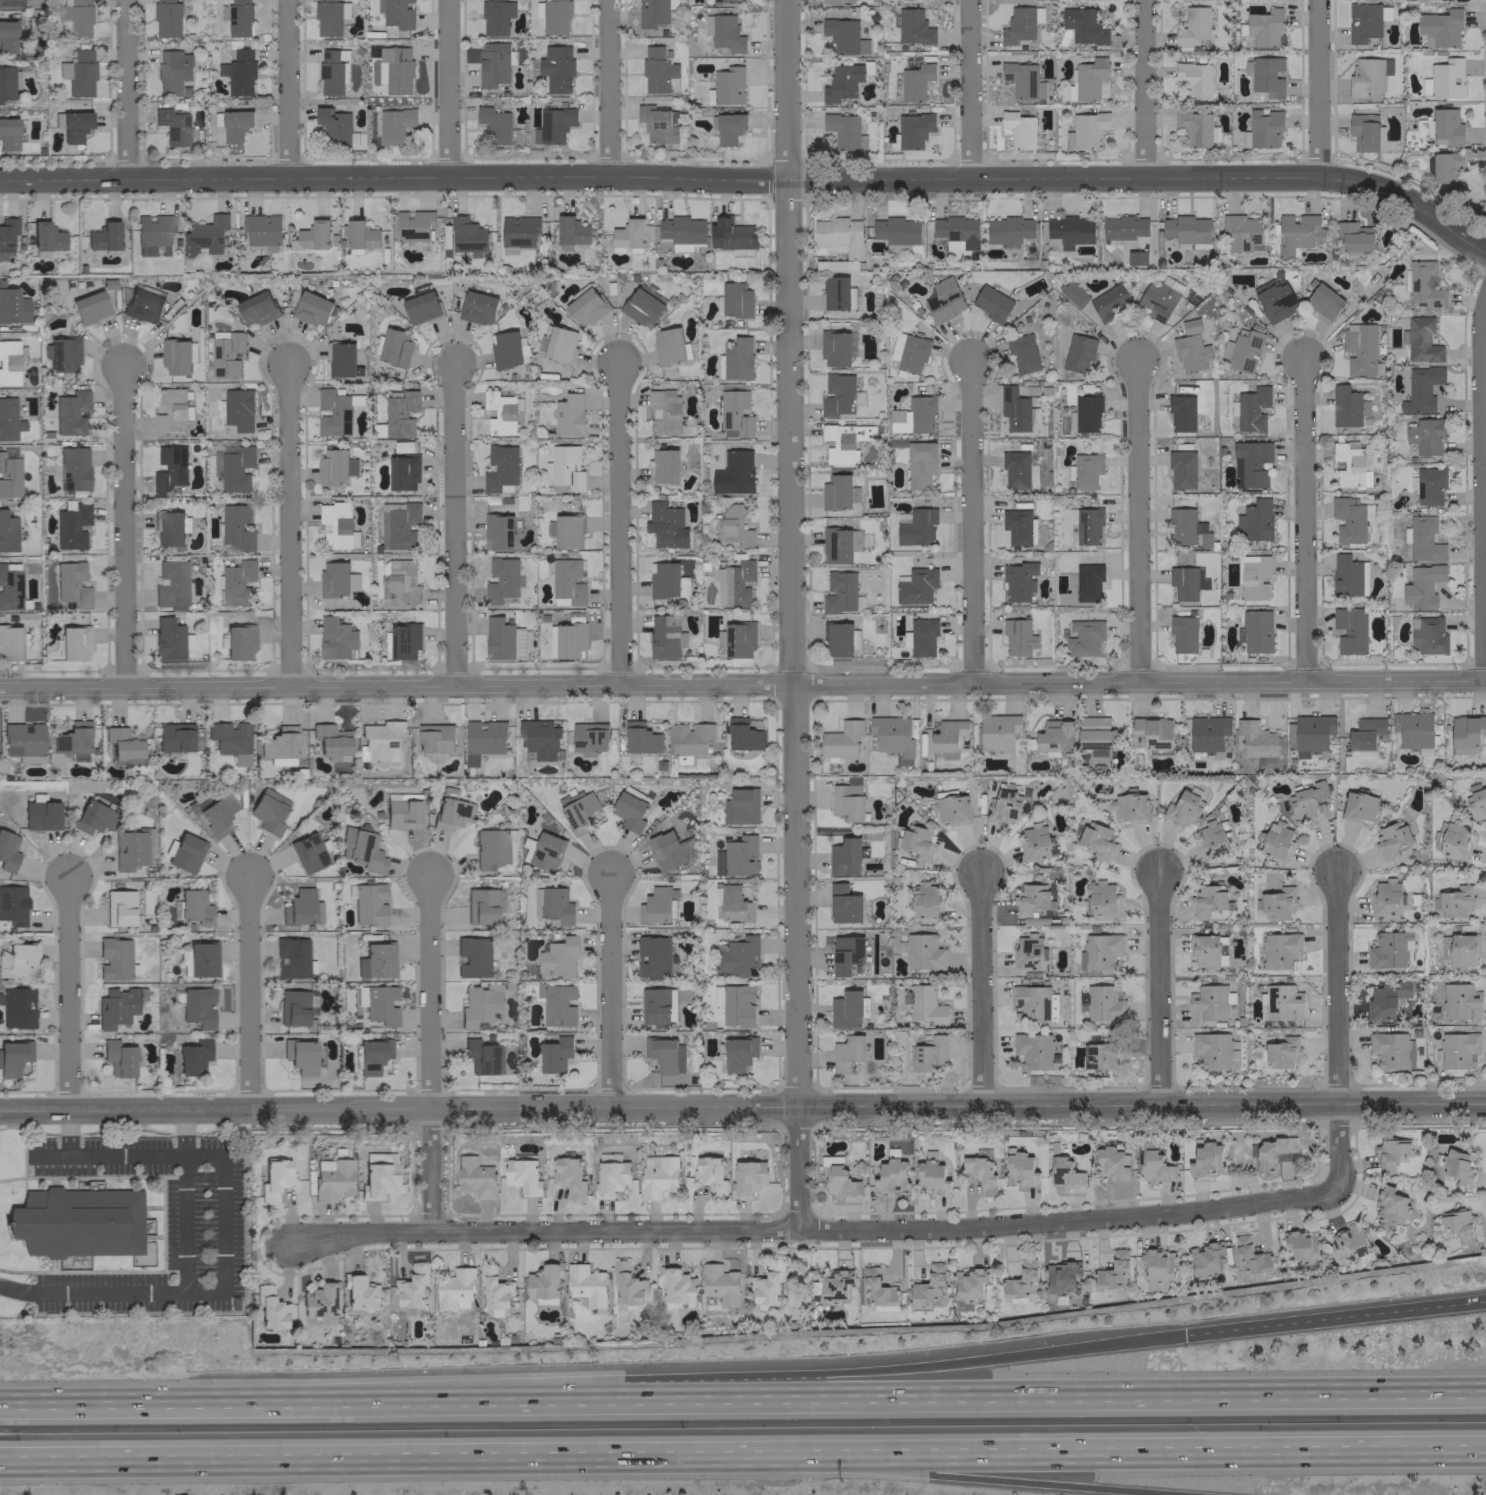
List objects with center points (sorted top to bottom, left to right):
building: (723, 1)
building: (829, 1)
building: (5, 2)
building: (396, 13)
building: (654, 13)
building: (496, 16)
building: (554, 16)
building: (77, 17)
building: (330, 17)
building: (167, 18)
building: (239, 18)
building: (1363, 22)
building: (1020, 24)
building: (1084, 25)
building: (913, 27)
building: (1193, 27)
building: (1265, 27)
building: (1441, 27)
building: (724, 32)
building: (7, 36)
building: (844, 36)
building: (492, 64)
building: (556, 68)
building: (63, 69)
building: (397, 69)
building: (173, 70)
building: (657, 70)
building: (81, 72)
building: (238, 72)
building: (381, 72)
building: (332, 73)
building: (1367, 74)
building: (1266, 75)
building: (1446, 77)
building: (1195, 79)
building: (1023, 80)
building: (1087, 80)
building: (915, 81)
building: (842, 82)
building: (6, 83)
building: (728, 85)
road: (285, 88)
road: (444, 88)
road: (607, 88)
road: (1140, 88)
road: (1315, 88)
road: (125, 89)
road: (966, 89)
building: (394, 124)
building: (554, 124)
building: (656, 124)
building: (235, 125)
building: (334, 125)
building: (496, 125)
building: (75, 126)
building: (1446, 126)
building: (176, 127)
building: (729, 128)
building: (1195, 128)
building: (1264, 128)
building: (913, 129)
building: (1019, 129)
building: (1087, 129)
building: (842, 130)
building: (1363, 131)
building: (8, 134)
building: (1445, 167)
road: (752, 178)
building: (413, 225)
building: (1122, 227)
building: (1008, 229)
building: (261, 230)
building: (896, 230)
building: (1185, 230)
building: (518, 231)
building: (571, 231)
building: (956, 231)
building: (1070, 231)
building: (155, 232)
building: (681, 232)
building: (628, 233)
building: (1242, 233)
building: (1297, 233)
building: (731, 234)
building: (839, 234)
building: (7, 235)
building: (360, 235)
building: (104, 236)
building: (205, 236)
building: (312, 236)
building: (468, 236)
building: (1353, 236)
building: (47, 239)
building: (1423, 285)
building: (834, 292)
building: (1073, 294)
building: (1274, 298)
building: (736, 299)
building: (943, 300)
building: (1157, 300)
building: (992, 301)
building: (1109, 301)
building: (1322, 301)
building: (12, 305)
building: (143, 305)
building: (90, 307)
building: (421, 307)
building: (477, 307)
building: (586, 307)
building: (641, 307)
building: (311, 308)
building: (257, 309)
building: (1421, 340)
building: (558, 344)
building: (668, 345)
building: (895, 345)
building: (395, 348)
building: (834, 348)
building: (1191, 348)
building: (505, 349)
building: (1359, 349)
building: (1242, 351)
building: (1078, 352)
building: (912, 353)
building: (64, 354)
building: (1022, 354)
building: (226, 355)
building: (175, 356)
building: (342, 359)
building: (736, 360)
building: (10, 361)
building: (1420, 389)
building: (839, 396)
building: (1347, 406)
building: (1014, 408)
building: (238, 409)
building: (1252, 409)
building: (170, 411)
building: (664, 411)
building: (71, 412)
building: (333, 412)
building: (735, 412)
building: (400, 413)
building: (1087, 413)
building: (1181, 413)
building: (920, 414)
building: (568, 415)
building: (9, 419)
building: (1425, 435)
building: (839, 443)
building: (920, 464)
building: (1352, 464)
building: (665, 465)
building: (1253, 465)
building: (235, 467)
building: (335, 467)
building: (500, 467)
building: (74, 468)
building: (170, 468)
building: (566, 469)
building: (1015, 469)
building: (1181, 469)
building: (1086, 470)
building: (403, 472)
building: (734, 472)
building: (9, 476)
building: (1429, 485)
road: (1479, 487)
building: (836, 492)
road: (1135, 518)
road: (1301, 519)
building: (1349, 519)
building: (1255, 520)
road: (968, 521)
road: (617, 522)
road: (452, 524)
building: (666, 525)
building: (735, 525)
building: (72, 526)
road: (121, 526)
building: (236, 526)
building: (400, 526)
building: (1018, 526)
building: (1088, 526)
road: (288, 527)
building: (917, 527)
building: (170, 528)
building: (1187, 528)
building: (568, 531)
building: (7, 532)
building: (498, 532)
building: (1424, 539)
building: (837, 545)
building: (1348, 575)
building: (1253, 576)
building: (334, 579)
building: (500, 579)
building: (664, 579)
building: (567, 581)
building: (1019, 581)
building: (1088, 581)
building: (401, 582)
building: (1184, 582)
building: (238, 583)
building: (737, 583)
building: (72, 584)
building: (172, 584)
building: (916, 585)
building: (10, 586)
building: (1421, 586)
building: (839, 591)
road: (788, 614)
building: (1350, 629)
building: (1255, 631)
building: (1183, 634)
building: (1427, 635)
building: (922, 636)
building: (665, 637)
building: (1018, 637)
building: (1084, 637)
building: (168, 638)
building: (336, 638)
building: (503, 639)
building: (737, 639)
building: (838, 639)
building: (566, 640)
building: (239, 641)
building: (402, 641)
building: (10, 642)
building: (74, 642)
road: (742, 684)
building: (1413, 730)
building: (1467, 730)
building: (998, 731)
building: (1153, 733)
building: (1365, 733)
building: (1207, 734)
building: (744, 735)
building: (1312, 735)
building: (1289, 736)
building: (175, 737)
building: (893, 737)
building: (948, 737)
building: (1055, 737)
building: (434, 738)
building: (540, 738)
building: (588, 738)
building: (640, 738)
building: (690, 738)
building: (381, 739)
building: (483, 739)
building: (841, 739)
building: (1256, 739)
building: (74, 741)
building: (330, 741)
building: (24, 742)
building: (124, 745)
building: (280, 746)
building: (847, 799)
building: (1308, 802)
building: (1476, 802)
building: (741, 806)
building: (1003, 807)
building: (1130, 807)
building: (1359, 807)
building: (1183, 808)
building: (630, 809)
building: (451, 810)
building: (578, 810)
building: (951, 810)
building: (268, 811)
building: (402, 811)
building: (216, 814)
building: (41, 815)
building: (93, 817)
building: (1096, 839)
building: (1391, 839)
building: (1211, 840)
building: (1277, 840)
building: (1454, 840)
building: (918, 841)
building: (1034, 843)
building: (492, 847)
building: (362, 849)
building: (129, 850)
building: (8, 851)
building: (546, 851)
building: (308, 852)
building: (186, 853)
building: (846, 856)
building: (736, 857)
building: (1385, 897)
building: (1033, 899)
building: (1102, 899)
building: (1207, 899)
building: (925, 900)
building: (1455, 901)
building: (1278, 902)
building: (369, 904)
building: (552, 904)
building: (734, 904)
building: (844, 904)
building: (13, 905)
building: (483, 905)
building: (658, 906)
building: (195, 907)
building: (120, 908)
building: (301, 908)
building: (176, 909)
building: (1388, 949)
building: (1459, 949)
building: (1279, 950)
building: (1100, 951)
building: (1204, 951)
building: (923, 952)
building: (1027, 953)
building: (845, 954)
building: (654, 956)
building: (736, 956)
building: (291, 957)
building: (472, 957)
building: (114, 959)
building: (557, 959)
building: (199, 960)
building: (376, 960)
building: (19, 961)
road: (1158, 989)
road: (610, 990)
road: (249, 991)
road: (980, 991)
road: (67, 994)
building: (717, 995)
building: (1387, 999)
building: (1460, 1001)
building: (1282, 1002)
building: (1033, 1003)
building: (1103, 1003)
building: (1207, 1003)
building: (381, 1004)
building: (557, 1004)
building: (479, 1005)
building: (737, 1005)
building: (926, 1005)
building: (117, 1006)
building: (657, 1006)
building: (17, 1007)
building: (198, 1007)
building: (295, 1007)
building: (847, 1009)
road: (1336, 1030)
building: (1457, 1049)
building: (1033, 1050)
building: (1213, 1050)
building: (1391, 1050)
building: (847, 1052)
building: (929, 1052)
building: (1282, 1052)
road: (428, 1053)
building: (738, 1053)
building: (1102, 1053)
building: (555, 1054)
building: (665, 1054)
building: (372, 1055)
building: (300, 1056)
building: (479, 1056)
building: (13, 1057)
building: (194, 1057)
building: (119, 1058)
road: (742, 1106)
road: (418, 1120)
road: (269, 1128)
road: (183, 1132)
road: (67, 1133)
road: (23, 1147)
building: (1273, 1151)
building: (1390, 1153)
road: (108, 1156)
building: (1206, 1159)
building: (1111, 1163)
building: (1457, 1165)
building: (1154, 1167)
building: (1019, 1168)
building: (980, 1173)
building: (1063, 1173)
building: (522, 1175)
building: (710, 1175)
building: (657, 1176)
building: (891, 1176)
building: (475, 1177)
building: (569, 1177)
building: (610, 1178)
building: (747, 1178)
building: (931, 1178)
building: (275, 1179)
building: (332, 1179)
building: (378, 1180)
building: (840, 1182)
building: (1390, 1204)
building: (77, 1222)
road: (163, 1223)
parking lot: (203, 1224)
building: (1458, 1224)
road: (811, 1228)
building: (1349, 1239)
building: (1302, 1244)
building: (1250, 1256)
building: (1206, 1258)
building: (1157, 1267)
building: (1112, 1271)
building: (1061, 1276)
building: (1019, 1280)
building: (544, 1282)
building: (969, 1283)
building: (586, 1284)
building: (627, 1284)
building: (719, 1284)
building: (676, 1285)
building: (834, 1285)
building: (412, 1286)
building: (494, 1287)
building: (877, 1288)
building: (927, 1288)
road: (17, 1290)
building: (455, 1290)
road: (222, 1292)
building: (360, 1292)
road: (110, 1293)
building: (320, 1300)
building: (270, 1308)
road: (1332, 1318)
traffic signals: (1179, 1337)
road: (849, 1370)
road: (743, 1395)
road: (1076, 1452)
road: (333, 1459)
road: (916, 1474)

